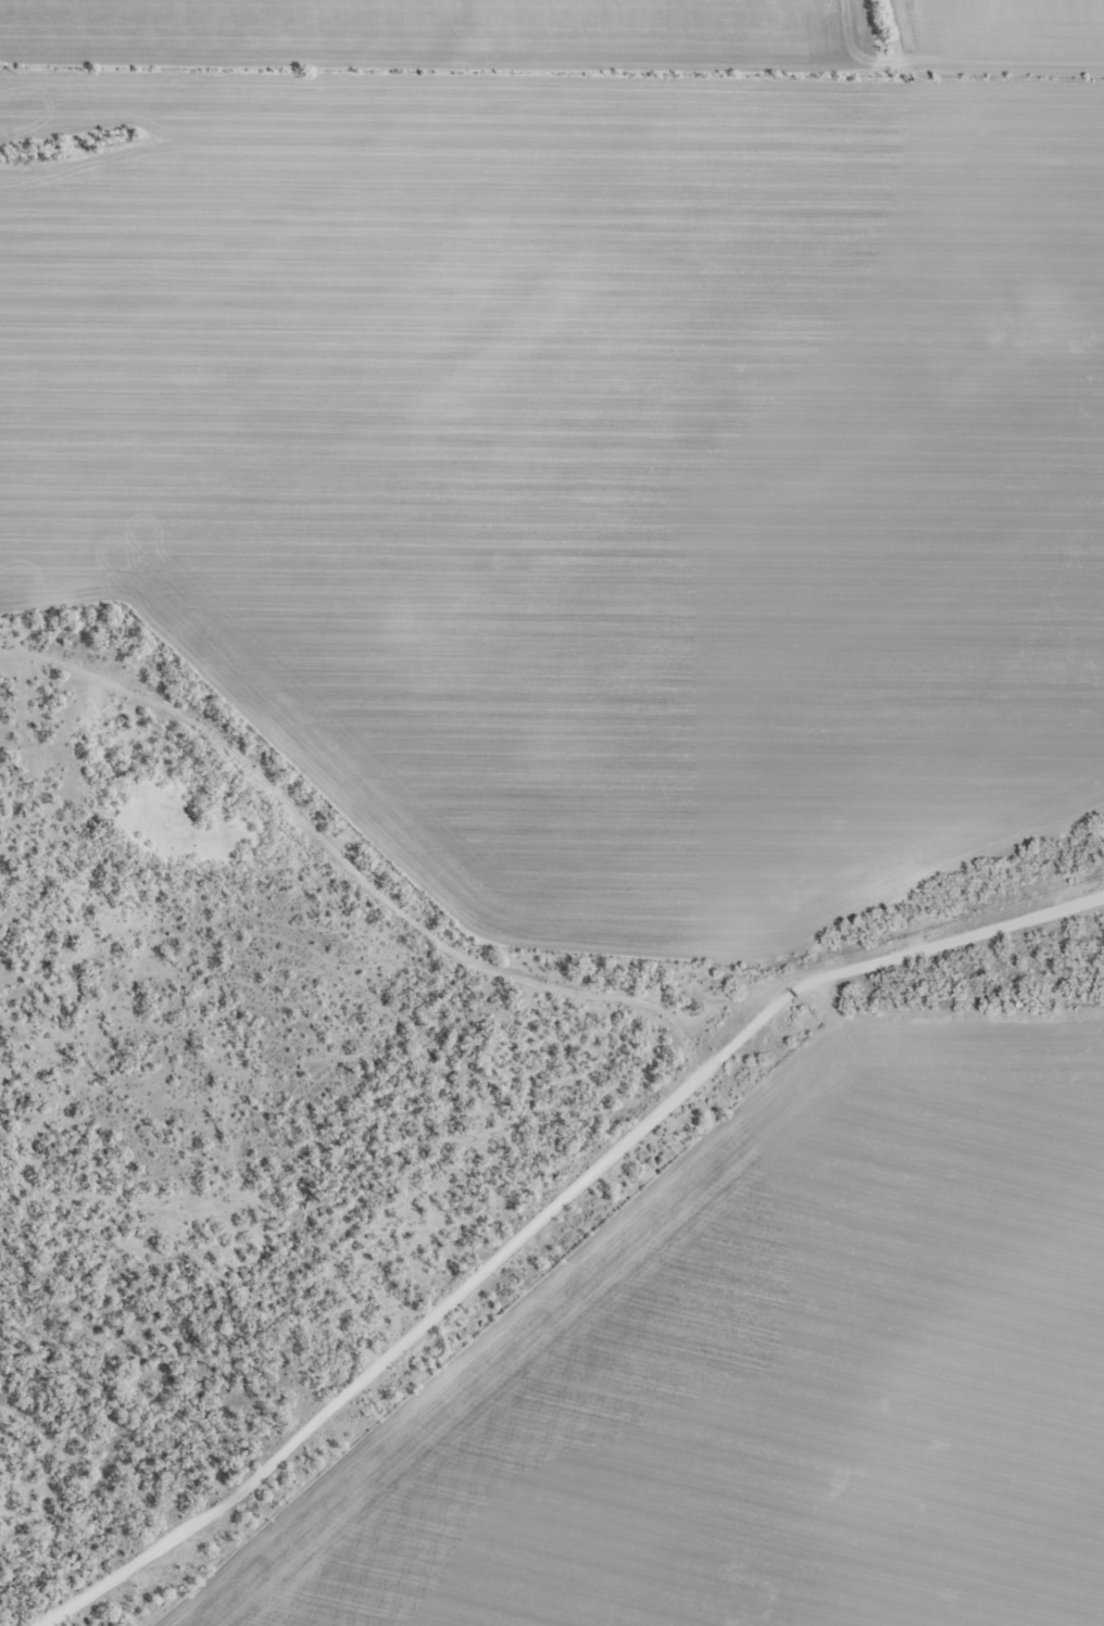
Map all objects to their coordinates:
road: (641, 1361)

